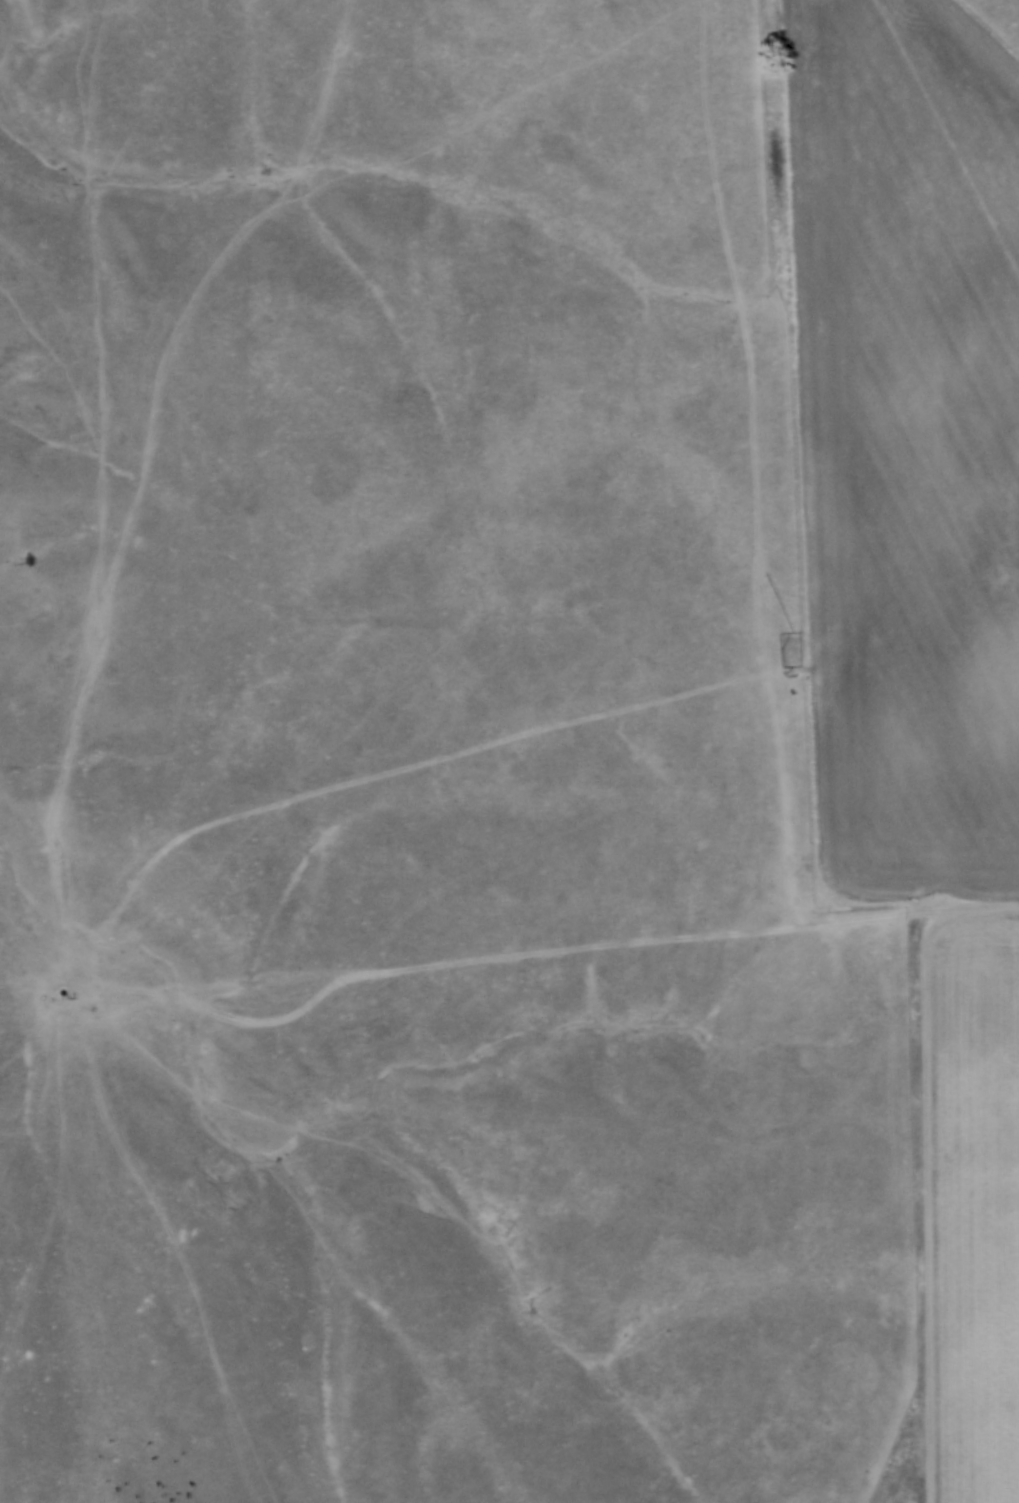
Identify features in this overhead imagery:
crop: (922, 601)

